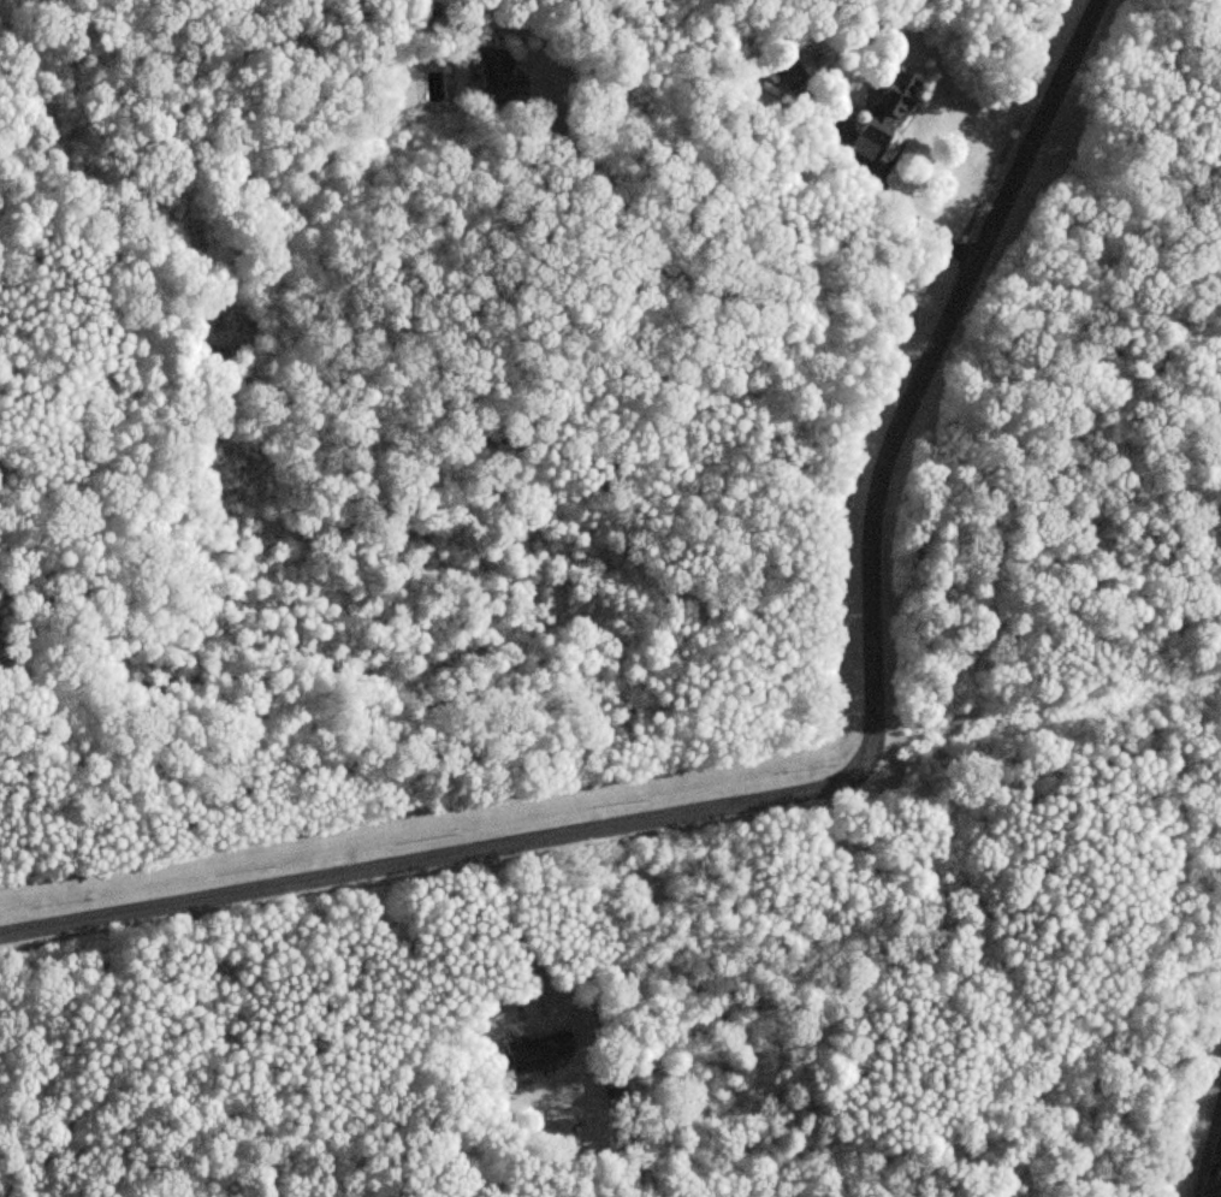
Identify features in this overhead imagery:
building: (491, 70)
building: (783, 73)
building: (887, 109)
road: (914, 217)
road: (706, 291)
road: (854, 677)
road: (114, 896)
road: (505, 912)
building: (534, 1051)
road: (1202, 1122)

